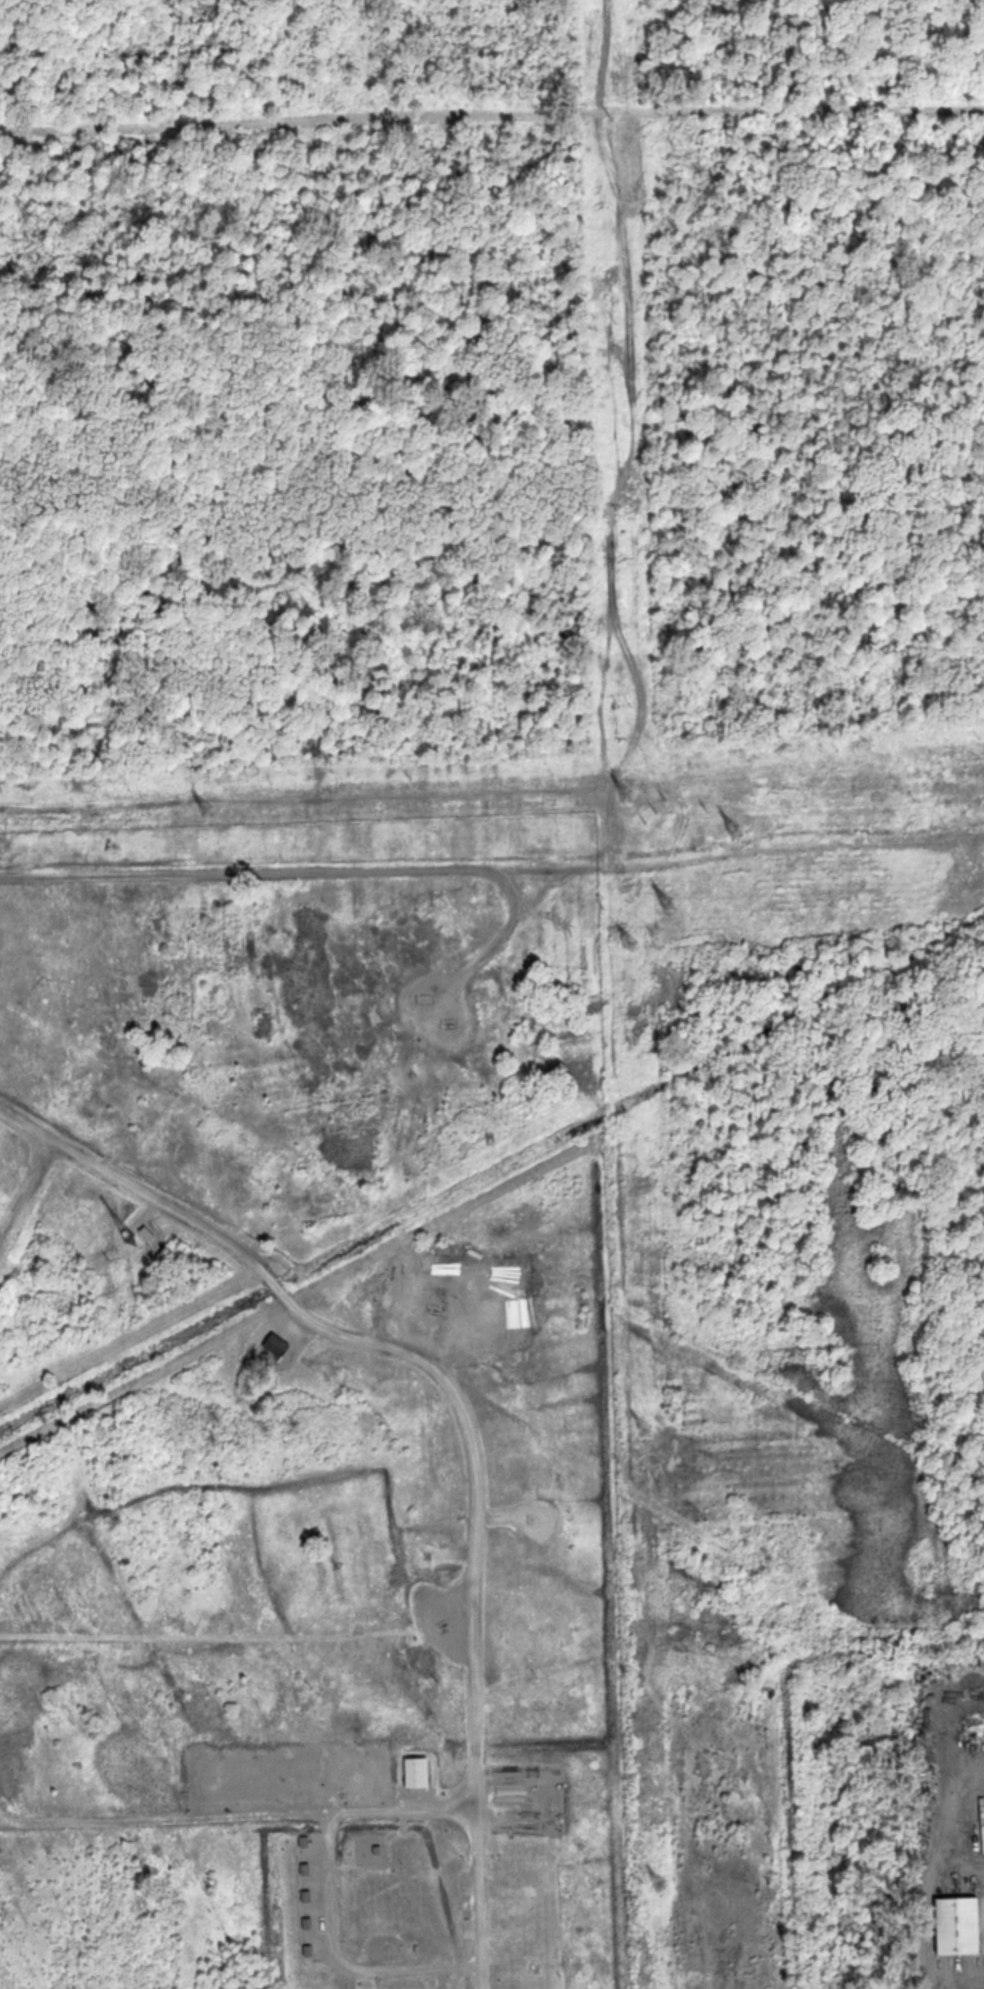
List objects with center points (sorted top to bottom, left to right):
power tower: (612, 112)
power tower: (618, 324)
power tower: (620, 514)
power tower: (626, 695)
power tower: (624, 786)
power tower: (205, 809)
power tower: (731, 840)
power tower: (666, 905)
power tower: (631, 944)
building: (279, 1344)
road: (465, 1417)
power tower: (650, 1434)
building: (421, 1772)
road: (249, 1815)
road: (21, 1823)
power tower: (666, 1887)
building: (962, 1925)
road: (337, 1961)

